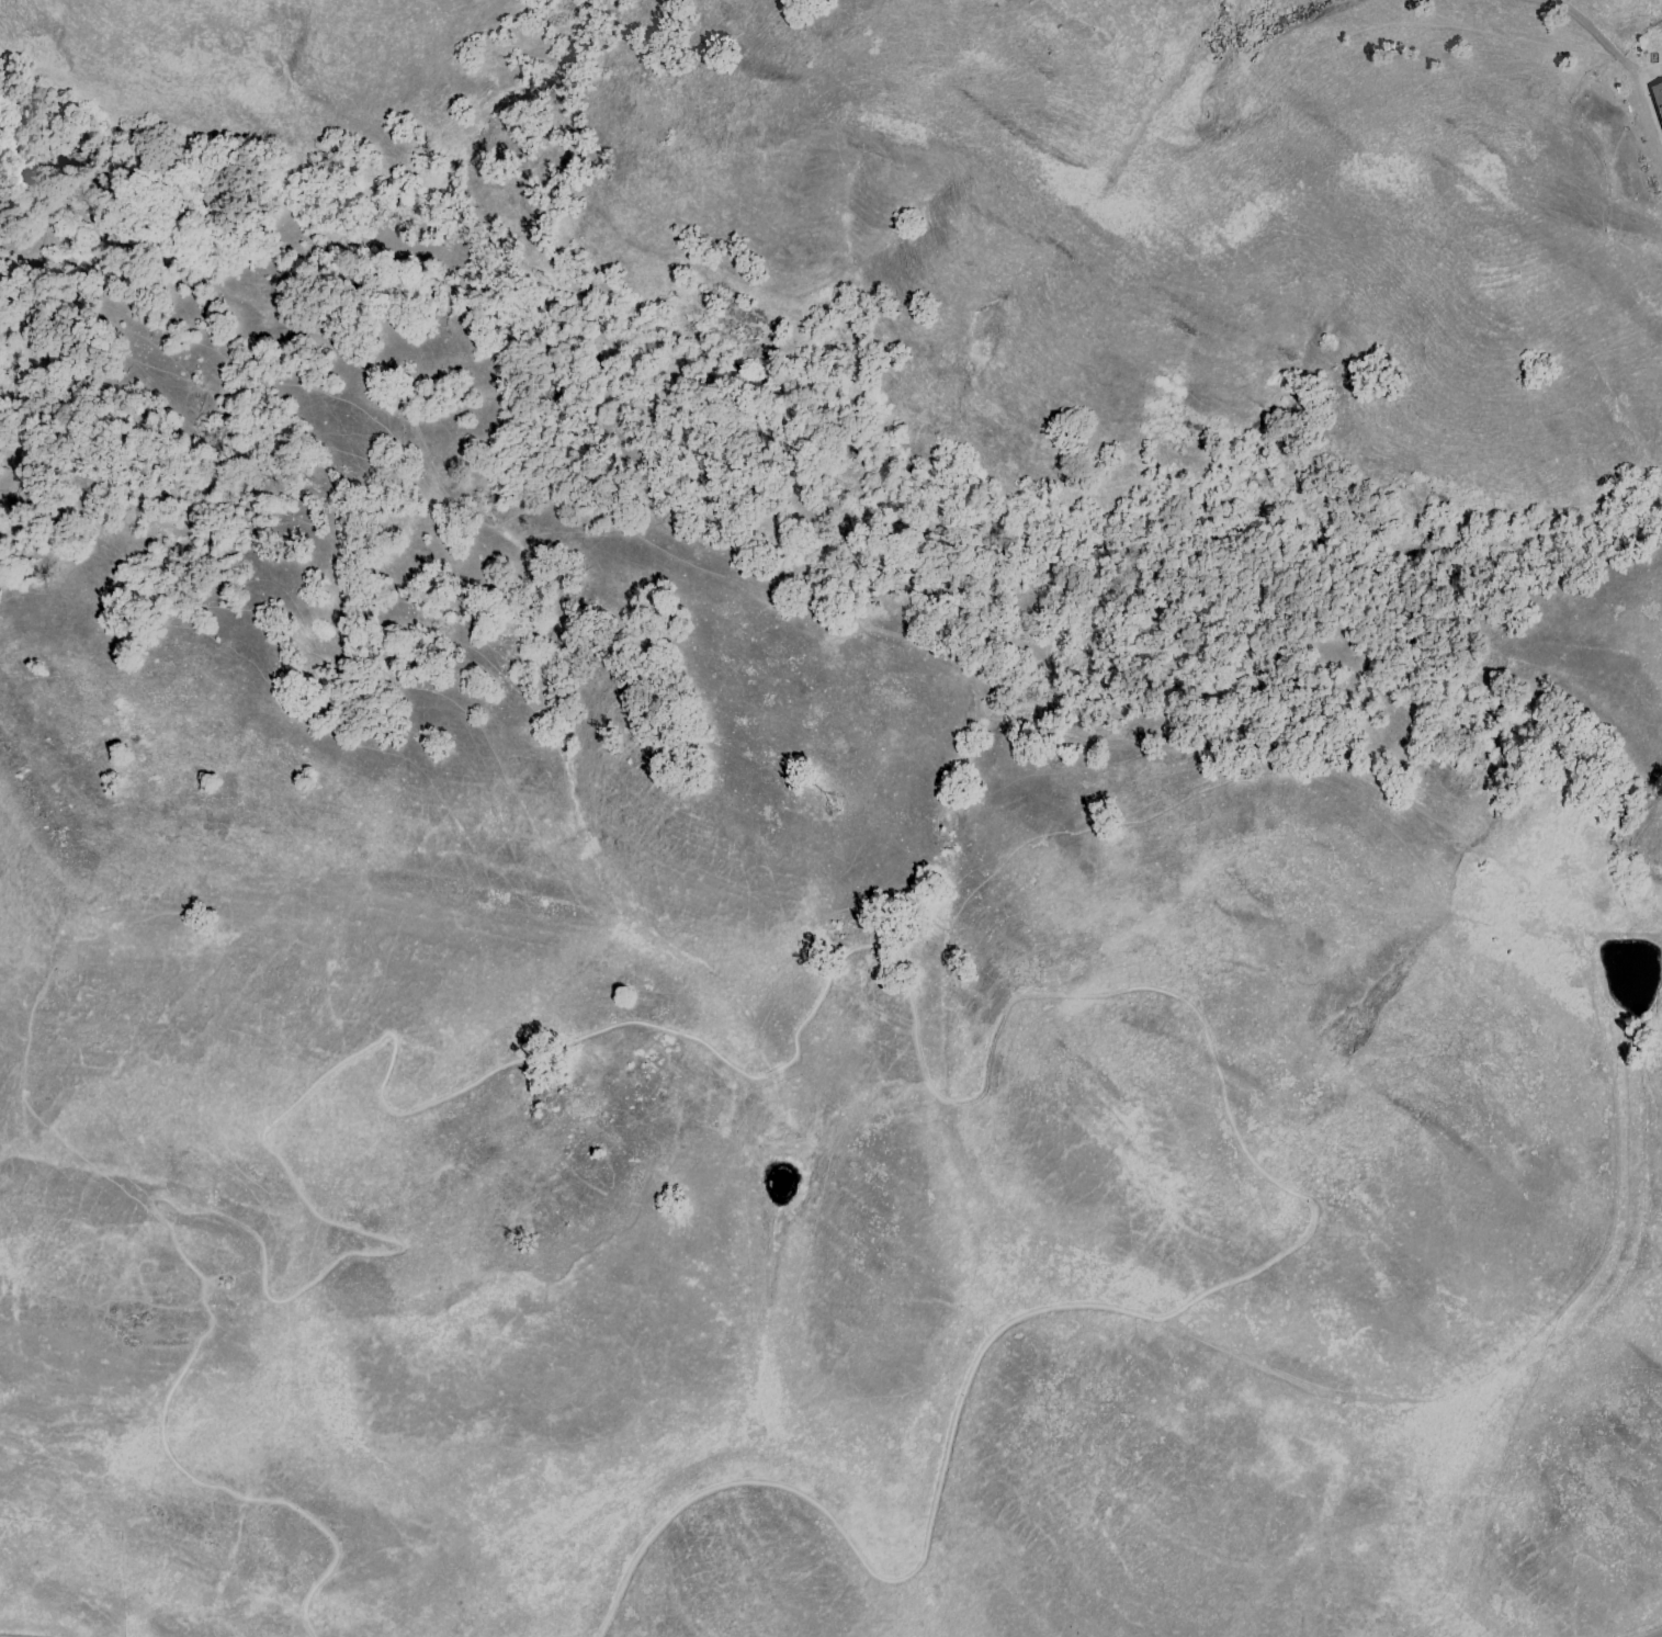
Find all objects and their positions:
road: (1653, 72)
building: (1657, 100)
road: (979, 708)
road: (1082, 983)
road: (764, 1059)
road: (321, 1263)
road: (1535, 1336)
road: (901, 1577)
road: (1658, 1635)

